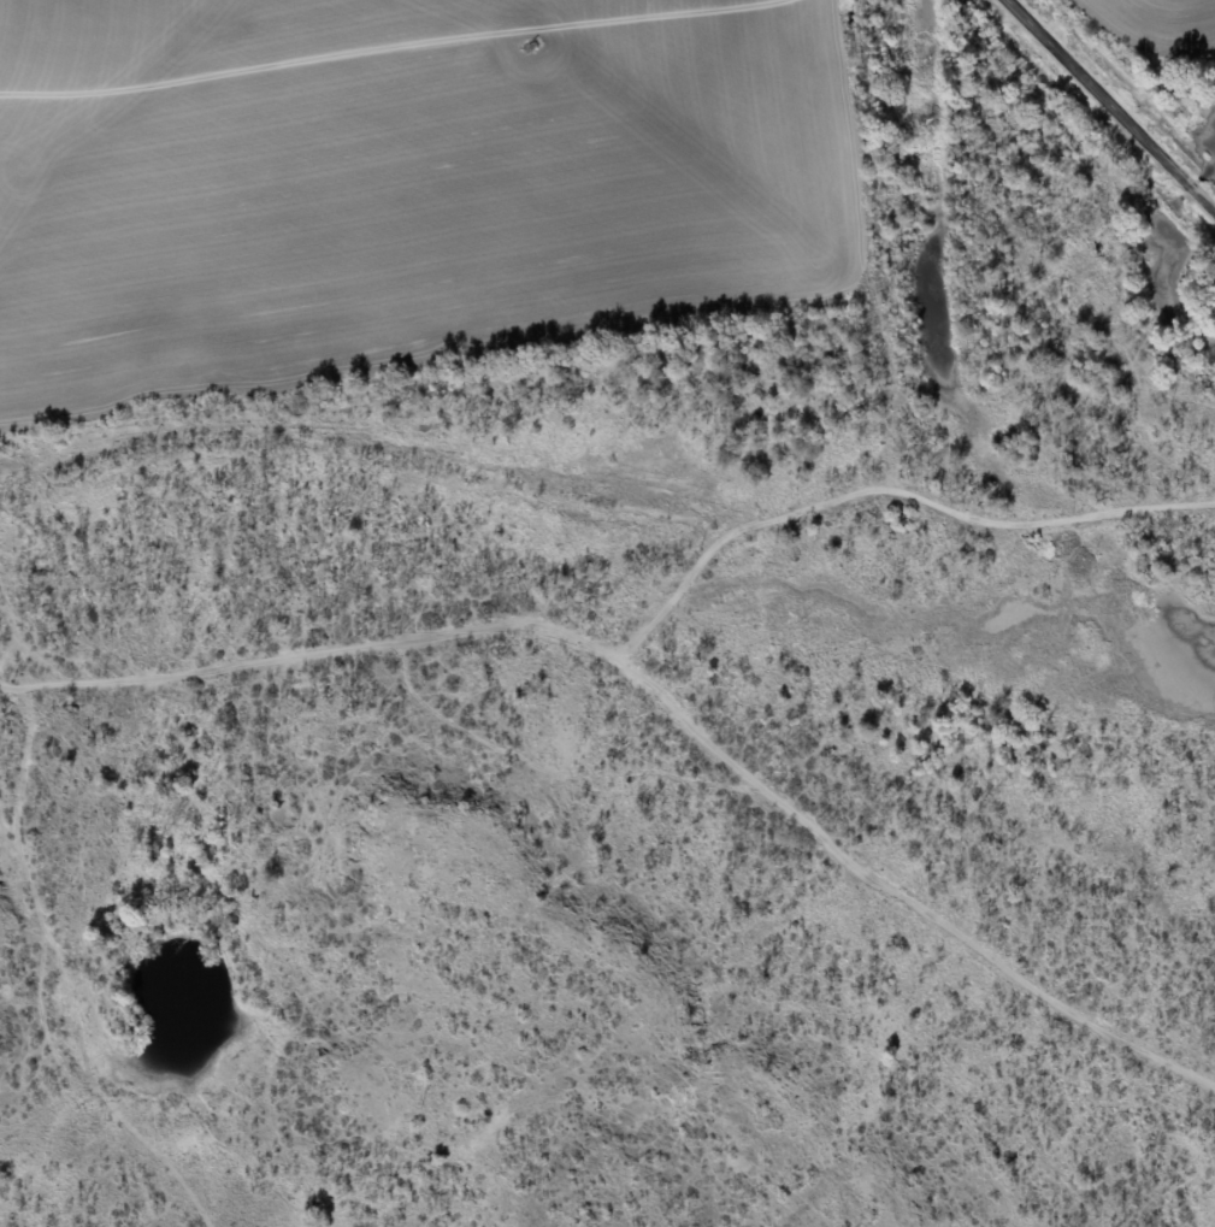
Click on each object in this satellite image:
road: (1110, 105)

